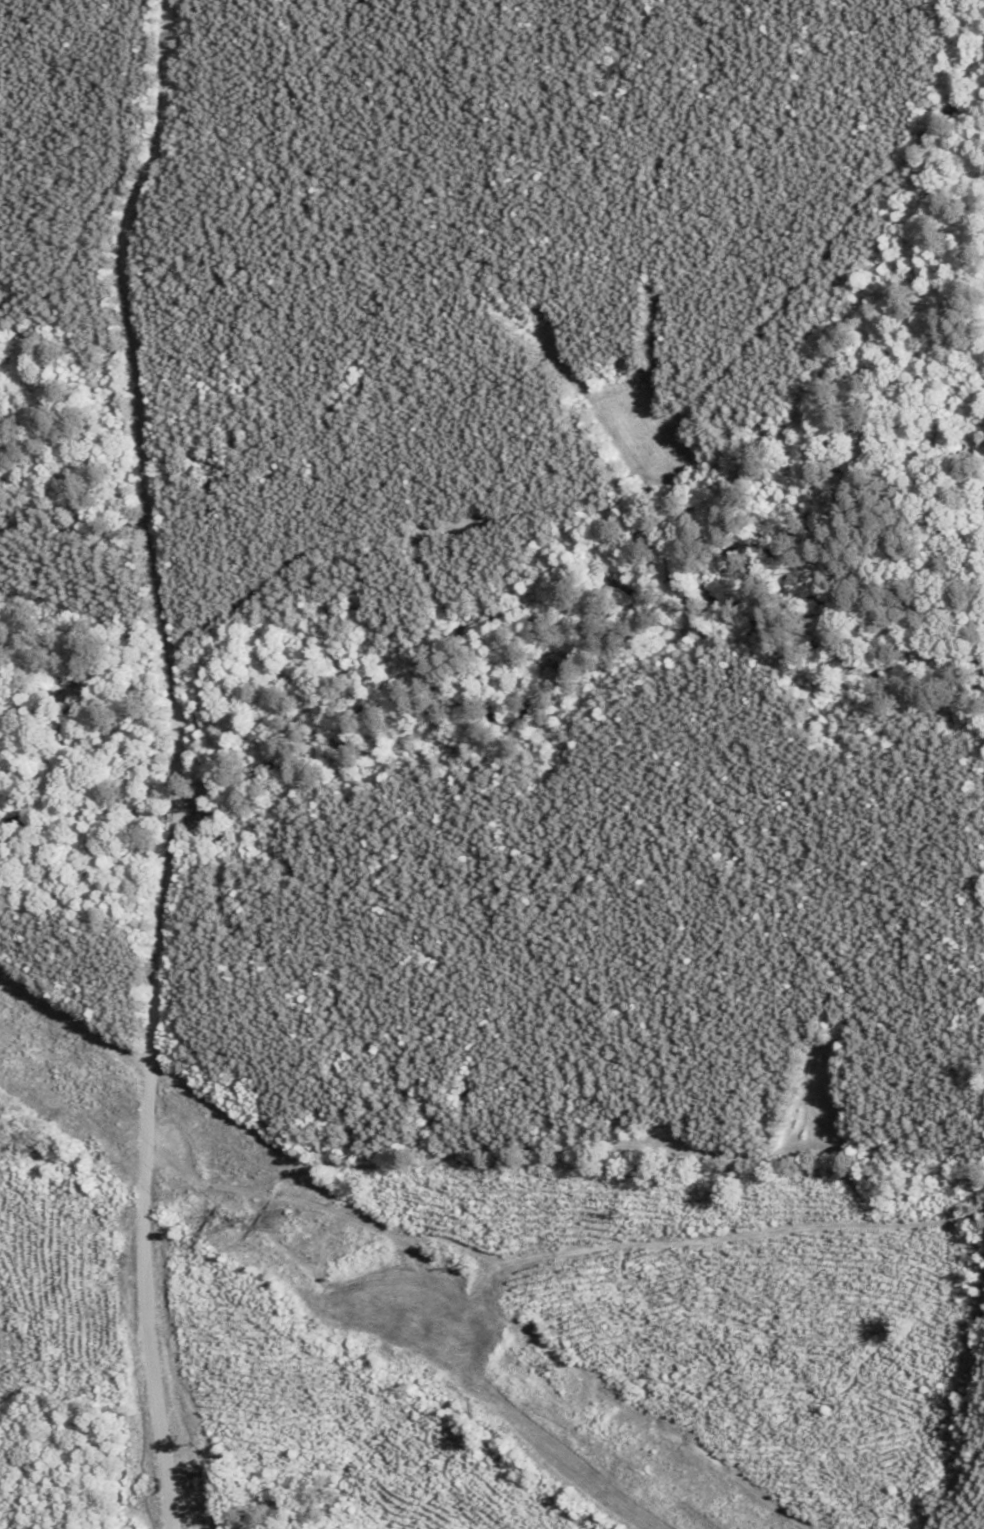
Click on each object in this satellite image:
road: (153, 769)
power tower: (284, 1222)

